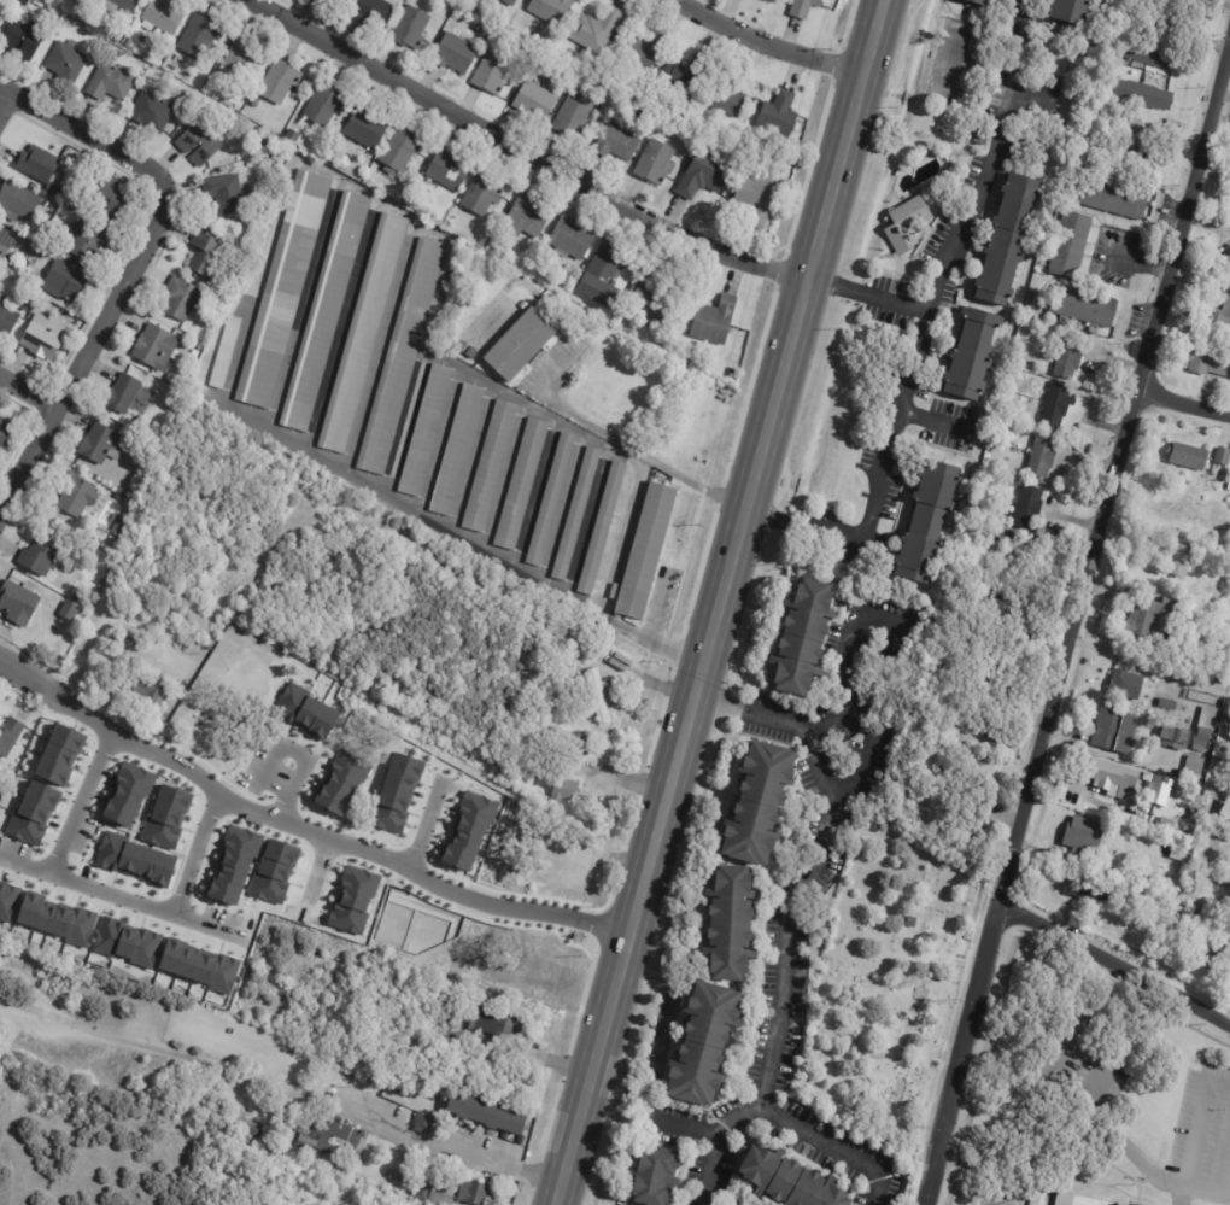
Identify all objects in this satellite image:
building: (323, 0)
building: (1193, 0)
building: (342, 1)
building: (510, 2)
building: (979, 2)
building: (119, 5)
building: (1, 7)
building: (804, 7)
building: (551, 10)
building: (1070, 11)
building: (375, 12)
building: (162, 14)
building: (411, 27)
building: (597, 28)
road: (1015, 31)
building: (199, 35)
building: (22, 37)
building: (116, 37)
building: (129, 41)
road: (769, 43)
building: (456, 52)
building: (640, 52)
building: (1152, 54)
building: (244, 59)
building: (66, 60)
building: (545, 64)
building: (492, 71)
building: (685, 77)
building: (280, 81)
building: (110, 82)
building: (727, 94)
building: (1143, 94)
building: (537, 100)
building: (257, 101)
road: (7, 105)
building: (322, 106)
building: (152, 110)
building: (575, 115)
building: (779, 115)
building: (367, 127)
building: (293, 134)
building: (980, 135)
building: (617, 142)
building: (199, 144)
building: (263, 146)
road: (537, 148)
building: (400, 150)
building: (274, 158)
building: (1129, 158)
building: (656, 162)
building: (42, 166)
building: (449, 169)
building: (705, 174)
road: (980, 187)
building: (64, 191)
building: (225, 192)
building: (484, 192)
building: (70, 195)
building: (110, 197)
building: (1115, 197)
building: (756, 198)
building: (17, 201)
building: (527, 217)
building: (908, 224)
building: (1009, 238)
building: (572, 239)
building: (88, 240)
building: (6, 241)
building: (1070, 245)
building: (206, 255)
building: (74, 259)
building: (1229, 259)
road: (136, 265)
building: (605, 274)
road: (445, 275)
building: (65, 281)
building: (285, 289)
road: (868, 291)
building: (182, 298)
building: (651, 298)
road: (304, 303)
building: (1038, 304)
building: (525, 305)
building: (24, 306)
building: (1085, 306)
building: (326, 311)
building: (1225, 314)
building: (7, 318)
building: (715, 321)
building: (211, 322)
road: (342, 323)
building: (363, 333)
building: (42, 340)
building: (520, 344)
building: (200, 345)
road: (381, 345)
building: (464, 346)
building: (157, 347)
building: (473, 352)
building: (195, 353)
building: (225, 353)
building: (972, 355)
building: (403, 356)
building: (1070, 357)
building: (1209, 362)
building: (172, 379)
building: (1031, 379)
road: (28, 392)
building: (123, 393)
road: (1183, 402)
building: (1058, 404)
building: (137, 421)
road: (406, 422)
building: (426, 431)
building: (5, 432)
building: (1009, 440)
road: (440, 441)
building: (102, 444)
building: (457, 450)
building: (1043, 456)
building: (1188, 456)
building: (1223, 456)
road: (473, 458)
building: (490, 466)
building: (1002, 473)
road: (505, 476)
road: (880, 476)
building: (522, 484)
building: (1229, 487)
road: (535, 492)
building: (75, 495)
building: (551, 498)
road: (563, 508)
building: (1030, 508)
building: (575, 513)
road: (588, 521)
building: (927, 522)
building: (119, 527)
building: (602, 527)
road: (463, 537)
building: (644, 552)
building: (40, 556)
building: (1182, 558)
building: (1219, 560)
building: (77, 597)
building: (88, 599)
road: (721, 602)
railway: (732, 602)
building: (18, 603)
road: (655, 609)
building: (1224, 609)
building: (69, 612)
building: (1153, 615)
building: (1006, 616)
road: (101, 621)
road: (1079, 622)
building: (1219, 622)
building: (802, 637)
building: (128, 644)
building: (1125, 685)
building: (150, 692)
building: (102, 694)
building: (599, 695)
park: (229, 698)
building: (1170, 704)
road: (752, 714)
building: (997, 729)
building: (1206, 729)
building: (1114, 732)
building: (10, 736)
building: (1177, 738)
building: (580, 745)
building: (19, 760)
road: (266, 766)
building: (1196, 766)
road: (856, 773)
road: (299, 774)
building: (1111, 777)
building: (566, 790)
building: (1161, 791)
road: (78, 802)
building: (761, 802)
building: (1166, 826)
road: (301, 827)
building: (971, 827)
road: (426, 829)
building: (1085, 835)
road: (194, 854)
building: (1181, 854)
park: (541, 855)
road: (315, 873)
building: (1229, 873)
road: (806, 876)
building: (1167, 889)
building: (1091, 890)
road: (118, 897)
building: (1193, 912)
building: (731, 920)
building: (1207, 952)
park: (514, 964)
road: (1119, 970)
park: (886, 984)
building: (498, 1023)
building: (704, 1042)
road: (279, 1093)
building: (488, 1116)
building: (424, 1124)
road: (1195, 1125)
building: (330, 1136)
road: (7, 1142)
road: (828, 1147)
road: (1135, 1156)
road: (978, 1169)
building: (656, 1176)
building: (789, 1180)
road: (37, 1191)
building: (451, 1192)
road: (1206, 1193)
building: (1038, 1198)
building: (740, 1200)
building: (1077, 1200)

